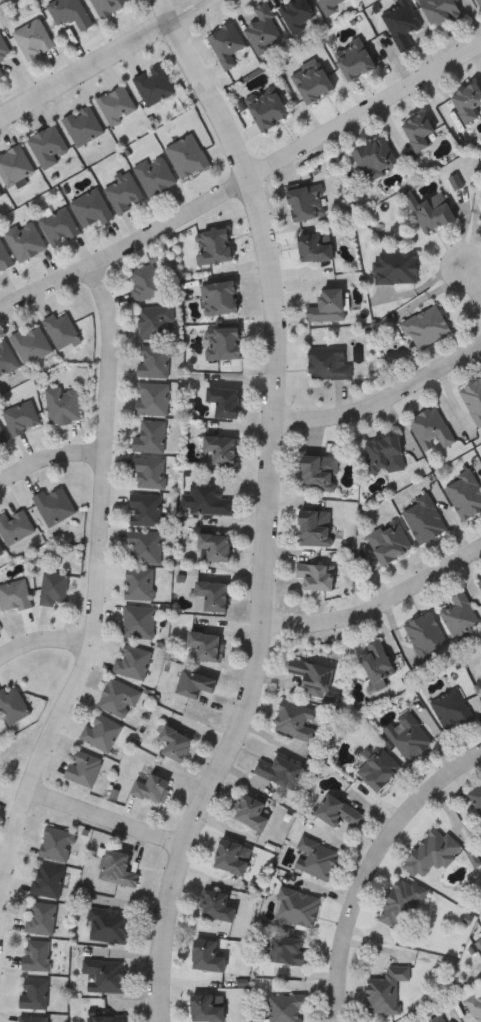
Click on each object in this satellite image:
building: (478, 2)
building: (330, 4)
building: (107, 6)
building: (68, 12)
building: (440, 12)
building: (297, 13)
building: (401, 24)
building: (263, 29)
building: (33, 38)
building: (226, 43)
building: (3, 48)
road: (99, 57)
building: (353, 58)
building: (1, 72)
building: (313, 83)
building: (153, 84)
building: (467, 100)
building: (116, 104)
building: (266, 109)
building: (82, 124)
building: (417, 129)
building: (48, 145)
building: (187, 154)
building: (375, 157)
building: (14, 164)
building: (155, 173)
road: (240, 179)
building: (124, 191)
building: (0, 193)
building: (307, 201)
building: (91, 207)
building: (430, 209)
building: (480, 218)
building: (480, 222)
building: (59, 224)
building: (25, 239)
building: (214, 245)
building: (314, 245)
building: (3, 256)
building: (395, 266)
road: (474, 280)
building: (145, 281)
building: (220, 296)
building: (327, 304)
building: (156, 321)
building: (425, 326)
building: (62, 329)
building: (224, 342)
building: (31, 343)
building: (6, 358)
building: (155, 361)
building: (328, 362)
building: (152, 397)
building: (473, 398)
building: (224, 400)
road: (384, 402)
building: (64, 404)
building: (21, 416)
building: (431, 427)
building: (2, 435)
building: (151, 436)
building: (220, 449)
building: (384, 452)
road: (49, 454)
building: (150, 472)
building: (319, 472)
building: (464, 492)
building: (209, 497)
building: (55, 504)
road: (270, 508)
building: (146, 509)
building: (423, 517)
building: (15, 525)
building: (314, 526)
building: (388, 540)
building: (216, 545)
building: (146, 546)
building: (1, 548)
building: (1, 553)
building: (315, 574)
building: (141, 582)
building: (480, 583)
road: (97, 585)
building: (55, 588)
building: (14, 594)
building: (212, 595)
road: (376, 602)
building: (460, 614)
building: (139, 620)
building: (426, 635)
road: (44, 639)
building: (206, 645)
building: (133, 660)
building: (377, 663)
building: (311, 676)
building: (195, 682)
building: (120, 697)
building: (14, 703)
building: (452, 708)
building: (0, 718)
building: (297, 720)
building: (0, 721)
building: (103, 731)
building: (408, 735)
building: (176, 742)
building: (84, 767)
building: (378, 768)
building: (283, 772)
building: (153, 788)
building: (476, 798)
building: (337, 811)
building: (252, 813)
road: (109, 821)
building: (57, 842)
building: (433, 852)
building: (232, 857)
building: (316, 858)
building: (118, 867)
road: (370, 867)
building: (49, 879)
building: (402, 901)
building: (219, 904)
building: (297, 906)
building: (42, 916)
building: (109, 924)
building: (290, 950)
building: (37, 954)
building: (207, 955)
building: (106, 973)
building: (386, 989)
building: (35, 991)
building: (474, 1001)
building: (287, 1007)
building: (205, 1008)
building: (34, 1018)
building: (108, 1018)
building: (438, 1018)

